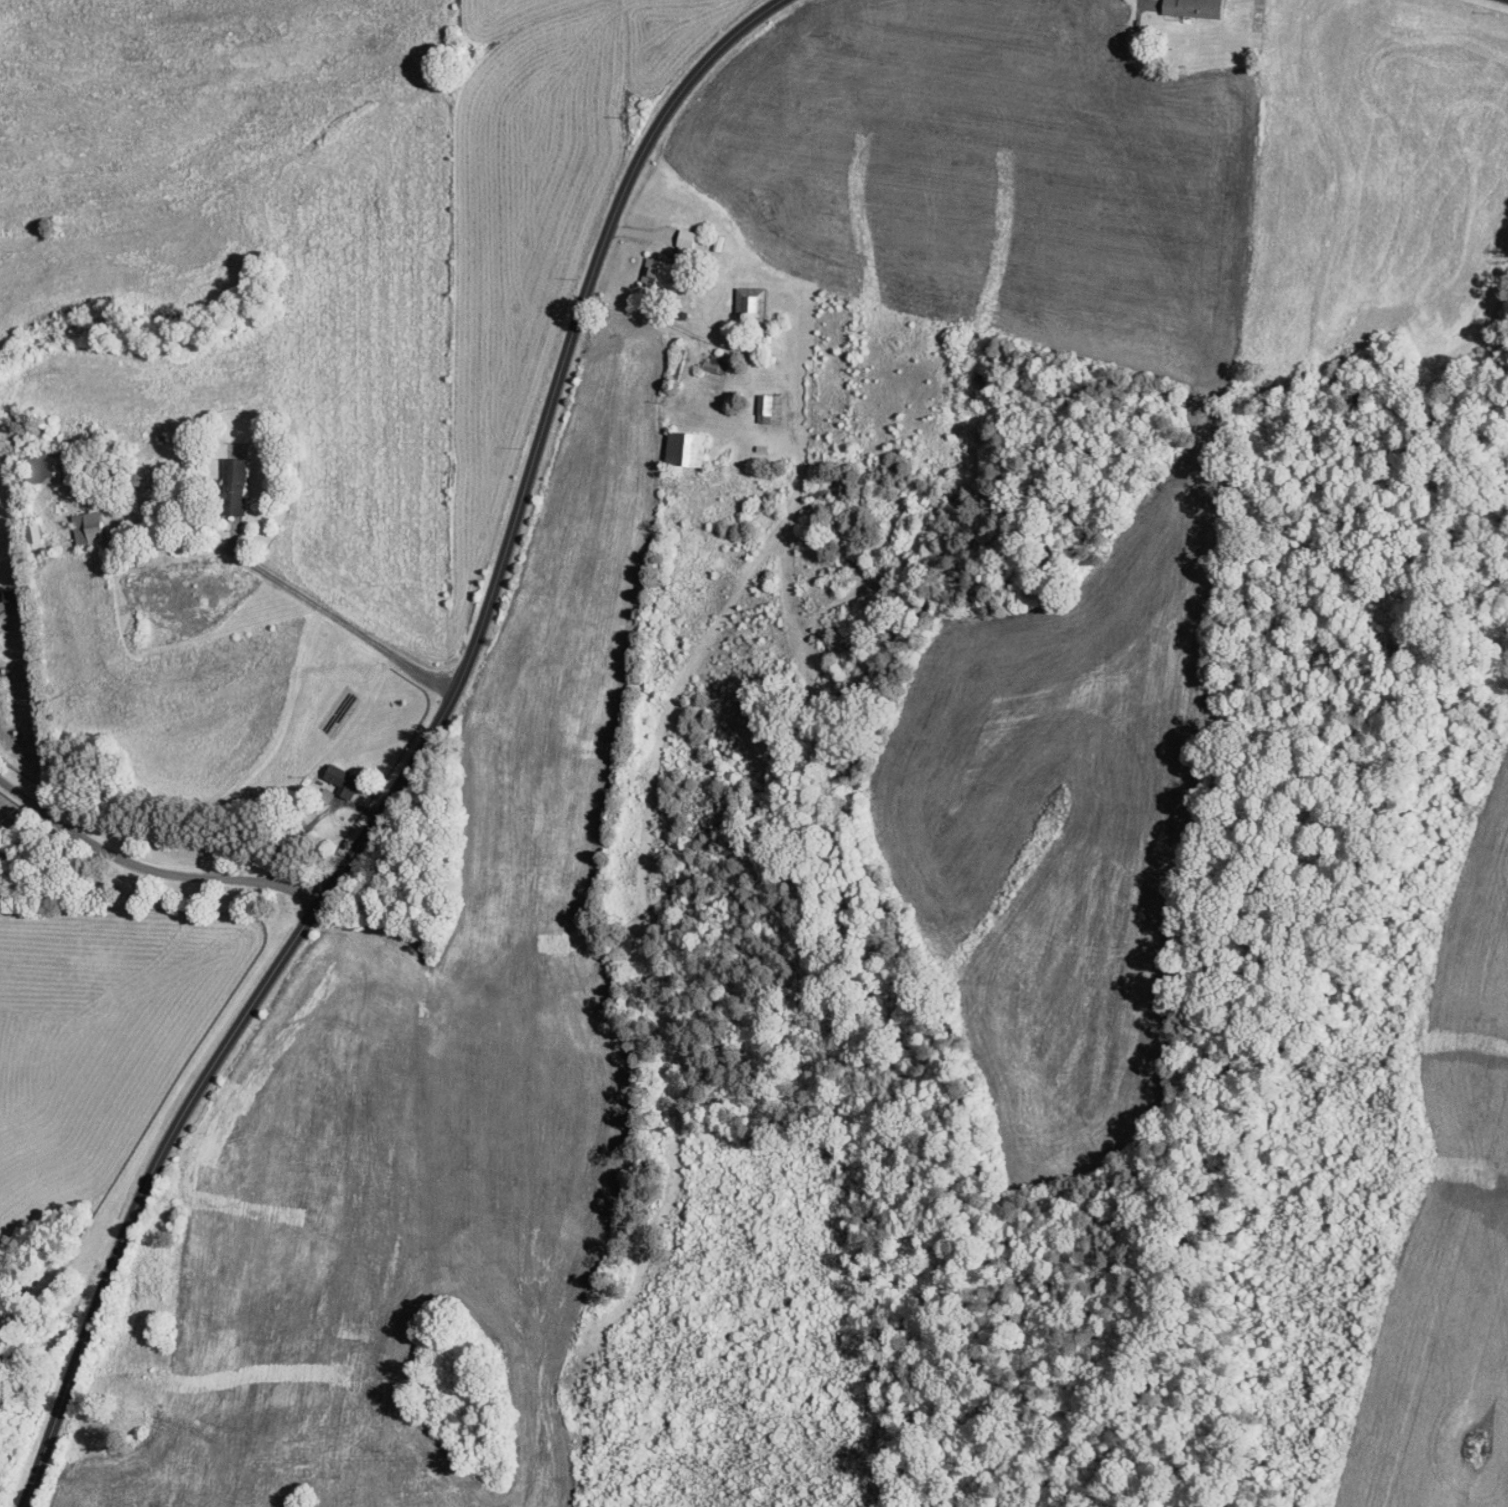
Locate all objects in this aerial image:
building: (1188, 8)
building: (673, 264)
building: (754, 302)
building: (718, 365)
building: (769, 408)
building: (692, 448)
building: (46, 466)
building: (238, 473)
building: (131, 476)
building: (91, 527)
road: (309, 600)
road: (422, 756)
building: (346, 781)
road: (149, 868)
road: (344, 1143)

